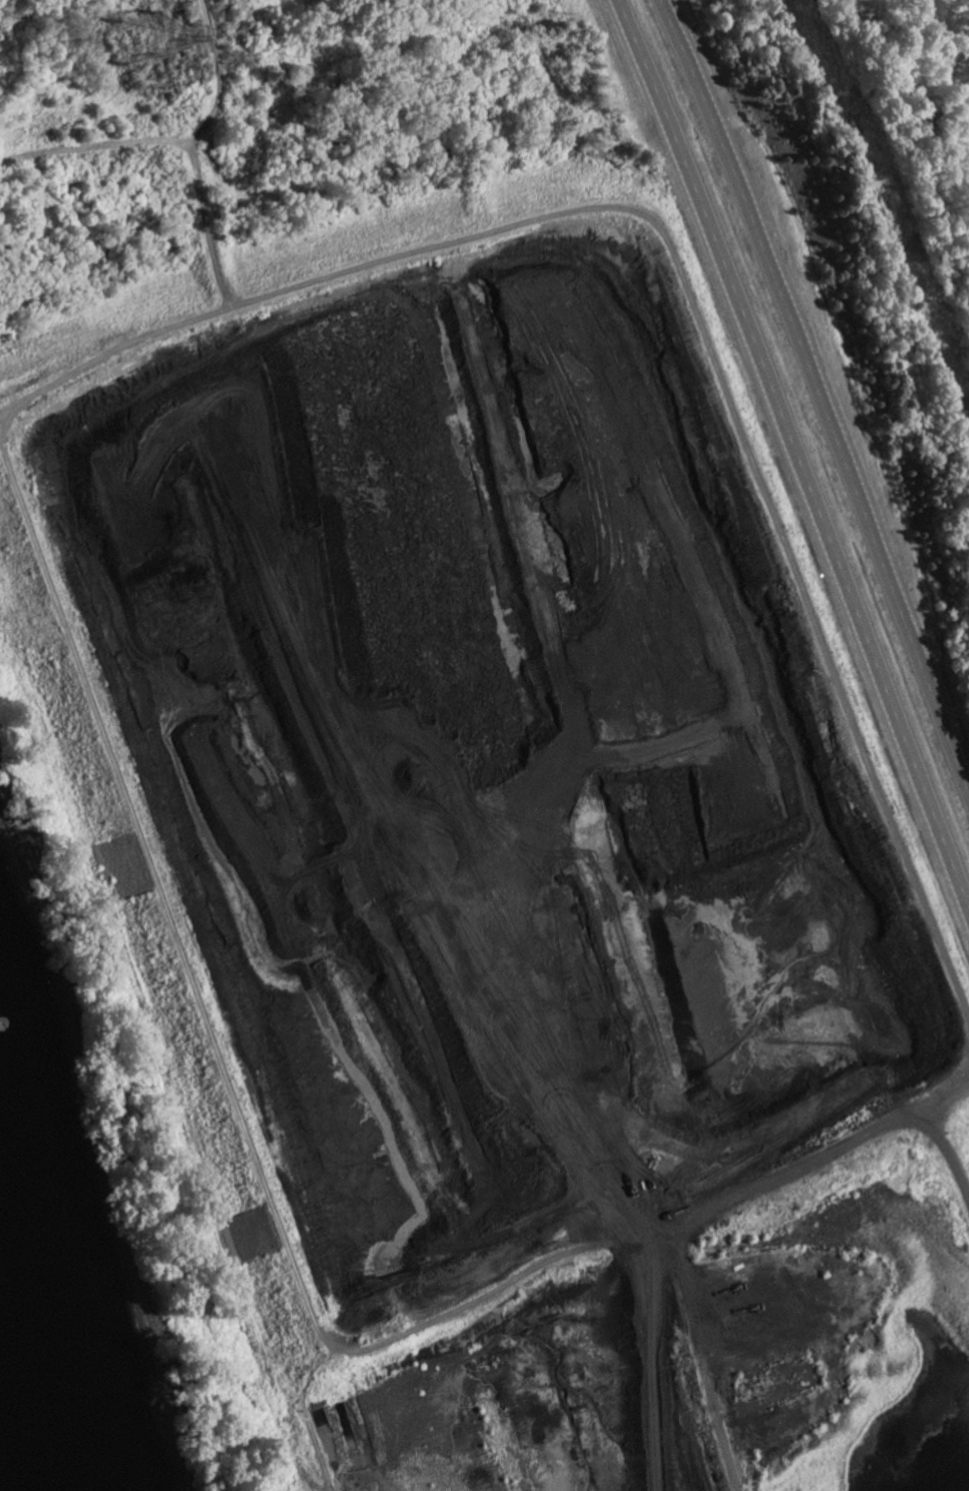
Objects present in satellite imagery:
power tower: (138, 46)
road: (884, 148)
road: (938, 333)
road: (821, 393)
road: (795, 456)

